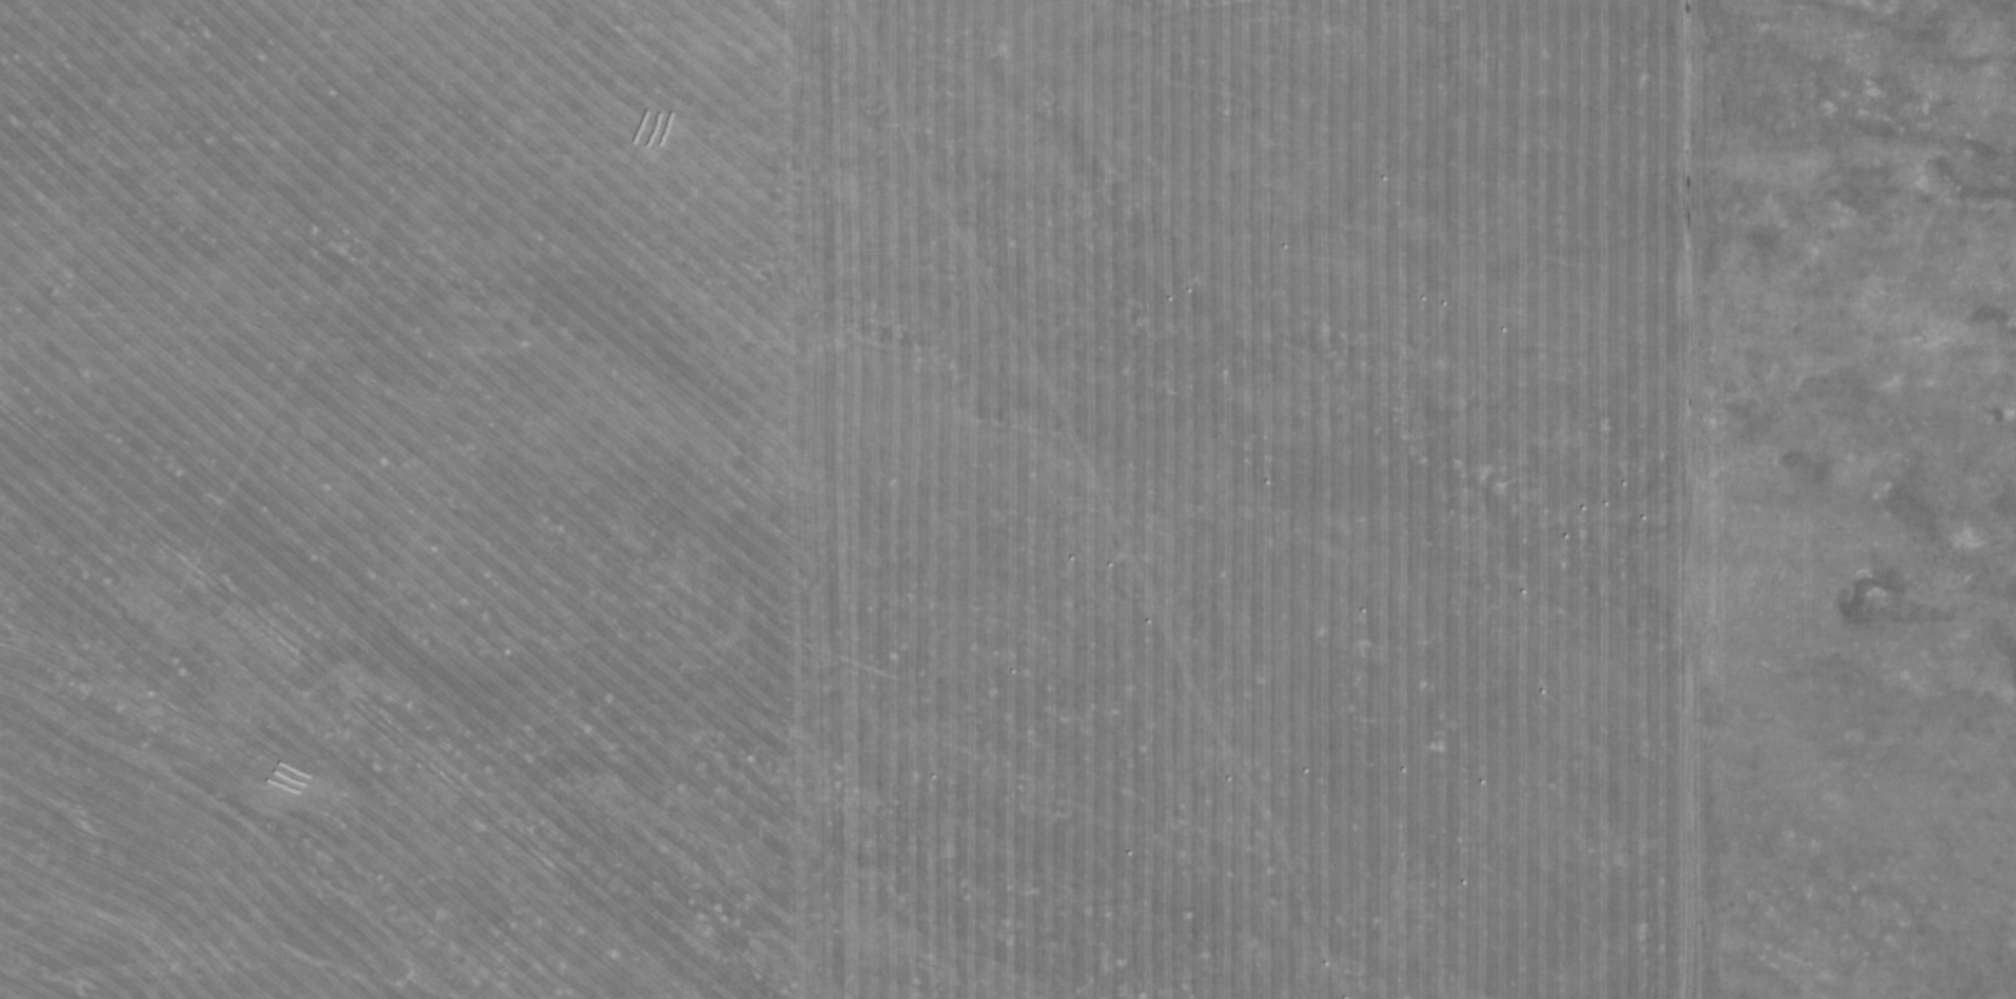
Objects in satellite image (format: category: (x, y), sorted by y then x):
road: (1693, 499)

